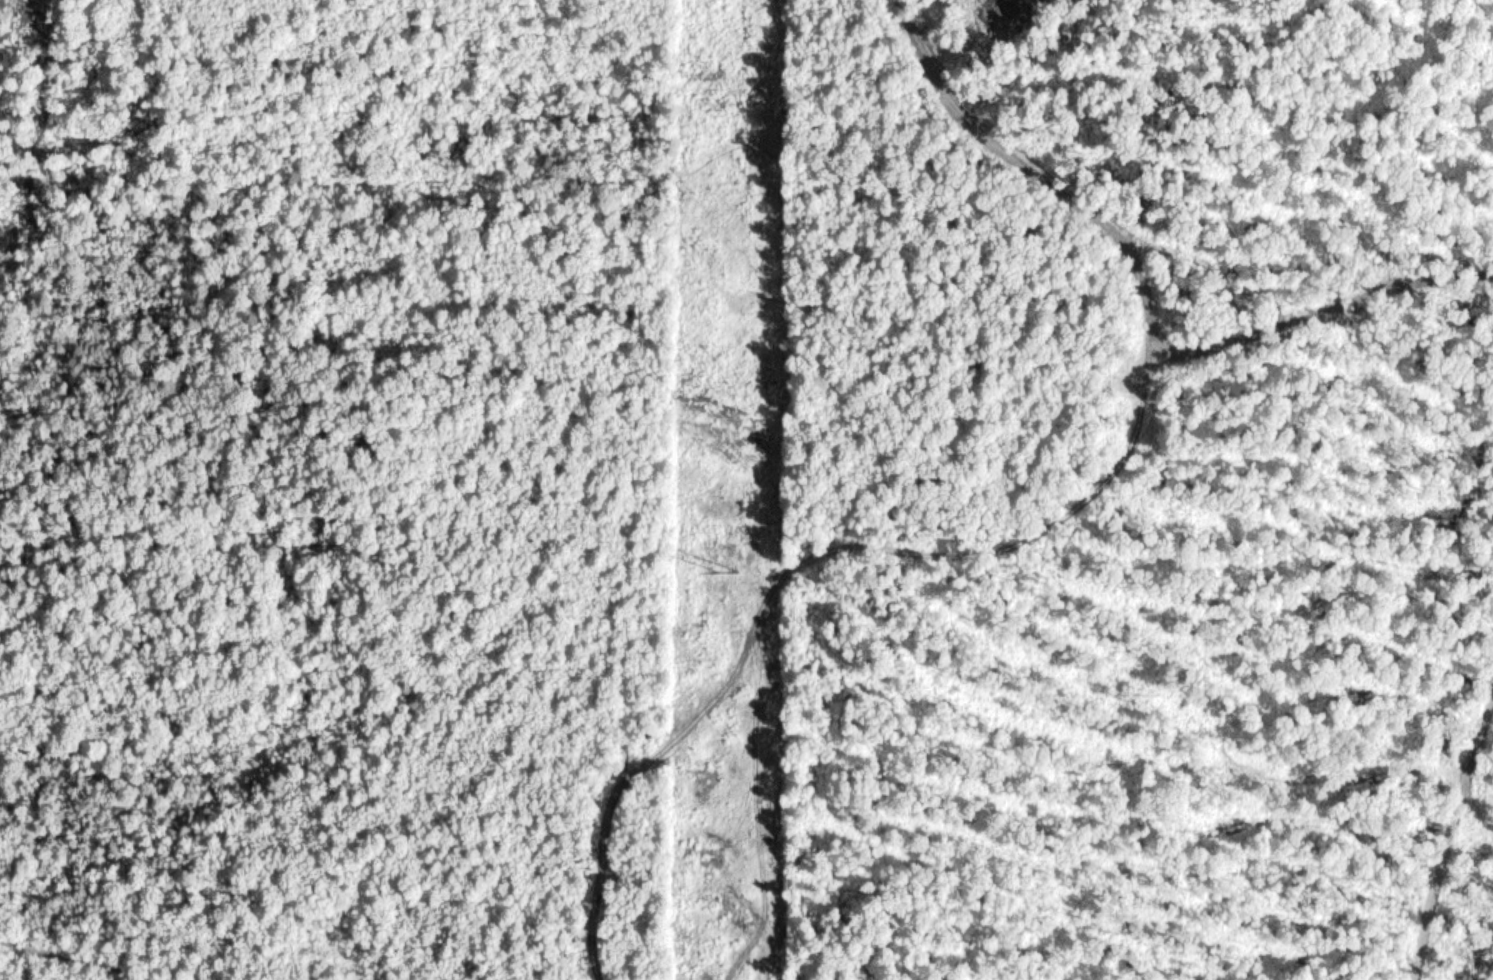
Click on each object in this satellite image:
power tower: (731, 570)
road: (760, 759)
road: (1451, 835)
road: (74, 965)

